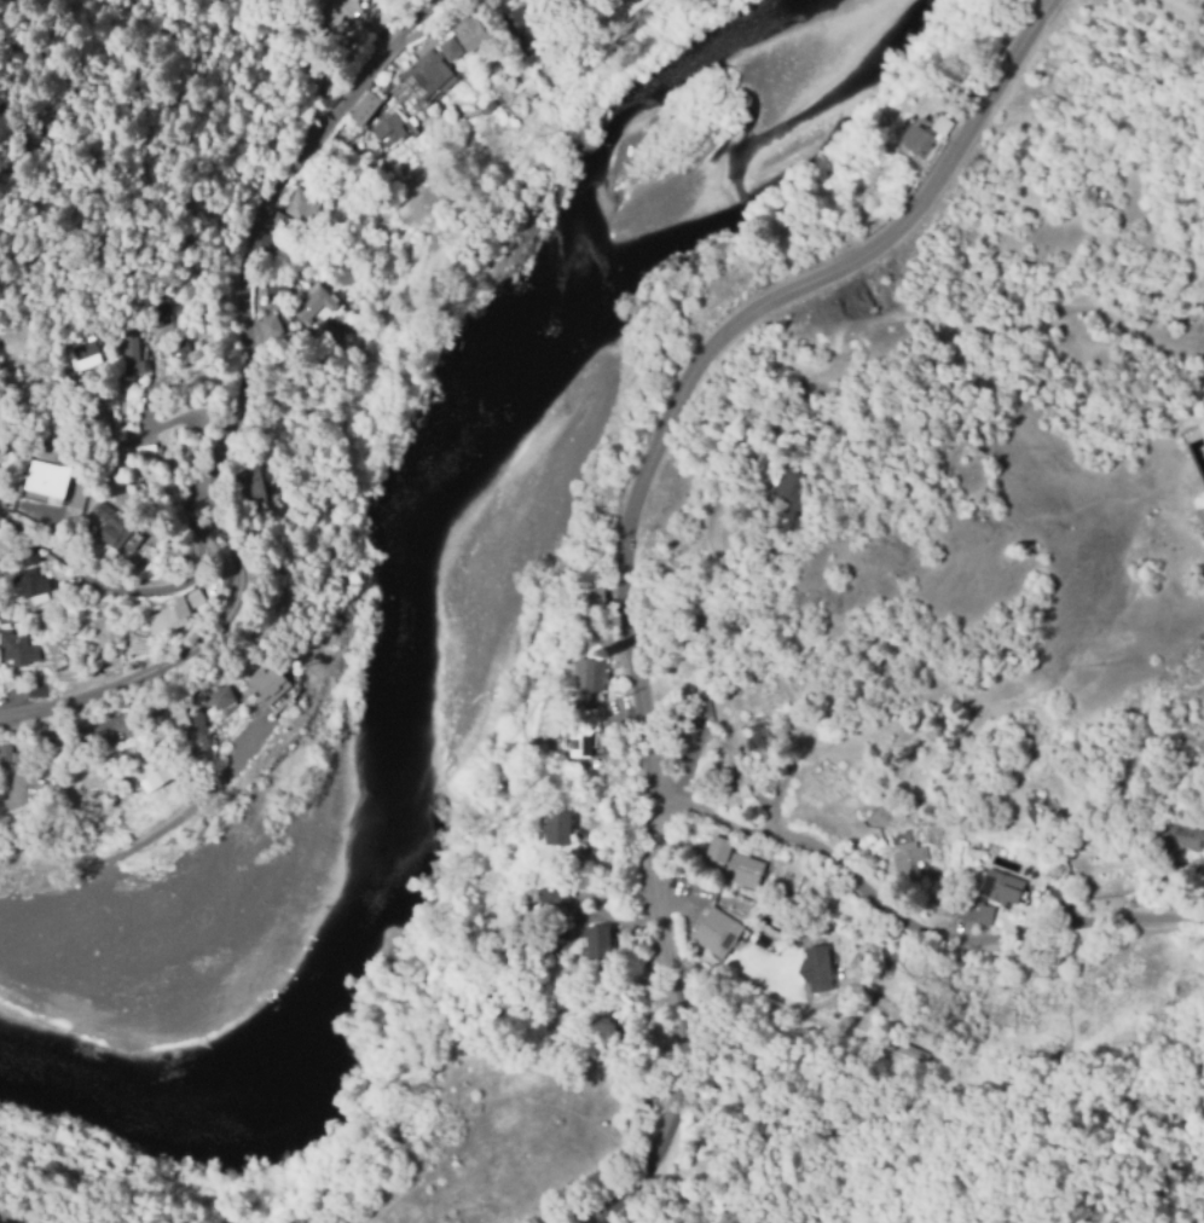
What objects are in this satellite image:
building: (334, 10)
building: (514, 24)
building: (467, 31)
park: (862, 39)
building: (448, 48)
building: (424, 75)
building: (363, 106)
building: (384, 126)
building: (926, 137)
building: (293, 211)
road: (257, 216)
building: (316, 305)
building: (156, 309)
building: (271, 328)
building: (157, 329)
building: (329, 335)
road: (731, 336)
building: (178, 349)
building: (81, 350)
building: (129, 354)
road: (189, 393)
building: (144, 453)
building: (47, 479)
building: (250, 481)
building: (75, 492)
building: (783, 492)
building: (1202, 512)
building: (793, 516)
building: (111, 527)
building: (30, 557)
building: (30, 585)
road: (141, 589)
building: (195, 598)
building: (596, 598)
building: (705, 598)
building: (169, 616)
river: (394, 627)
building: (17, 650)
road: (183, 651)
building: (592, 677)
building: (267, 683)
building: (37, 690)
building: (219, 696)
building: (170, 718)
building: (785, 723)
building: (581, 729)
building: (759, 730)
building: (197, 734)
building: (54, 750)
building: (5, 754)
building: (87, 759)
road: (231, 766)
building: (154, 775)
building: (770, 786)
building: (557, 828)
building: (1181, 836)
building: (718, 848)
building: (905, 863)
building: (741, 871)
building: (1198, 877)
building: (1001, 887)
building: (552, 893)
building: (978, 910)
road: (911, 921)
building: (717, 933)
building: (538, 934)
building: (600, 946)
building: (816, 969)
road: (668, 1018)
building: (907, 1050)
road: (13, 1217)

